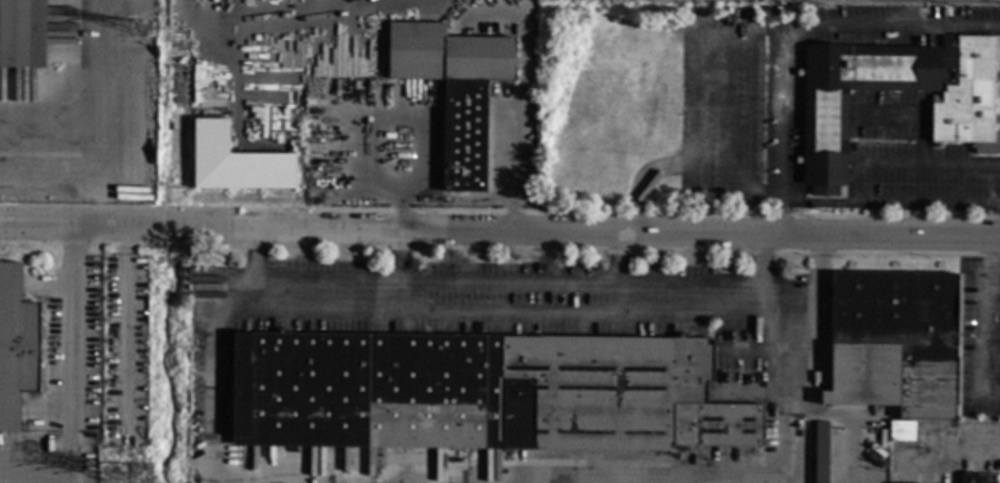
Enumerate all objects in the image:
gas station: (739, 2)
building: (316, 3)
road: (311, 18)
power tower: (142, 30)
road: (790, 32)
building: (22, 34)
building: (454, 90)
road: (524, 94)
building: (966, 94)
road: (91, 110)
building: (825, 138)
building: (234, 162)
road: (104, 176)
road: (890, 207)
road: (500, 230)
road: (251, 269)
road: (398, 271)
road: (619, 273)
road: (760, 311)
road: (505, 312)
road: (230, 314)
road: (986, 321)
building: (894, 342)
building: (15, 346)
road: (74, 386)
building: (480, 393)
road: (209, 401)
road: (785, 426)
building: (903, 431)
building: (87, 447)
building: (821, 452)
road: (971, 452)
building: (977, 478)
power tower: (138, 480)

